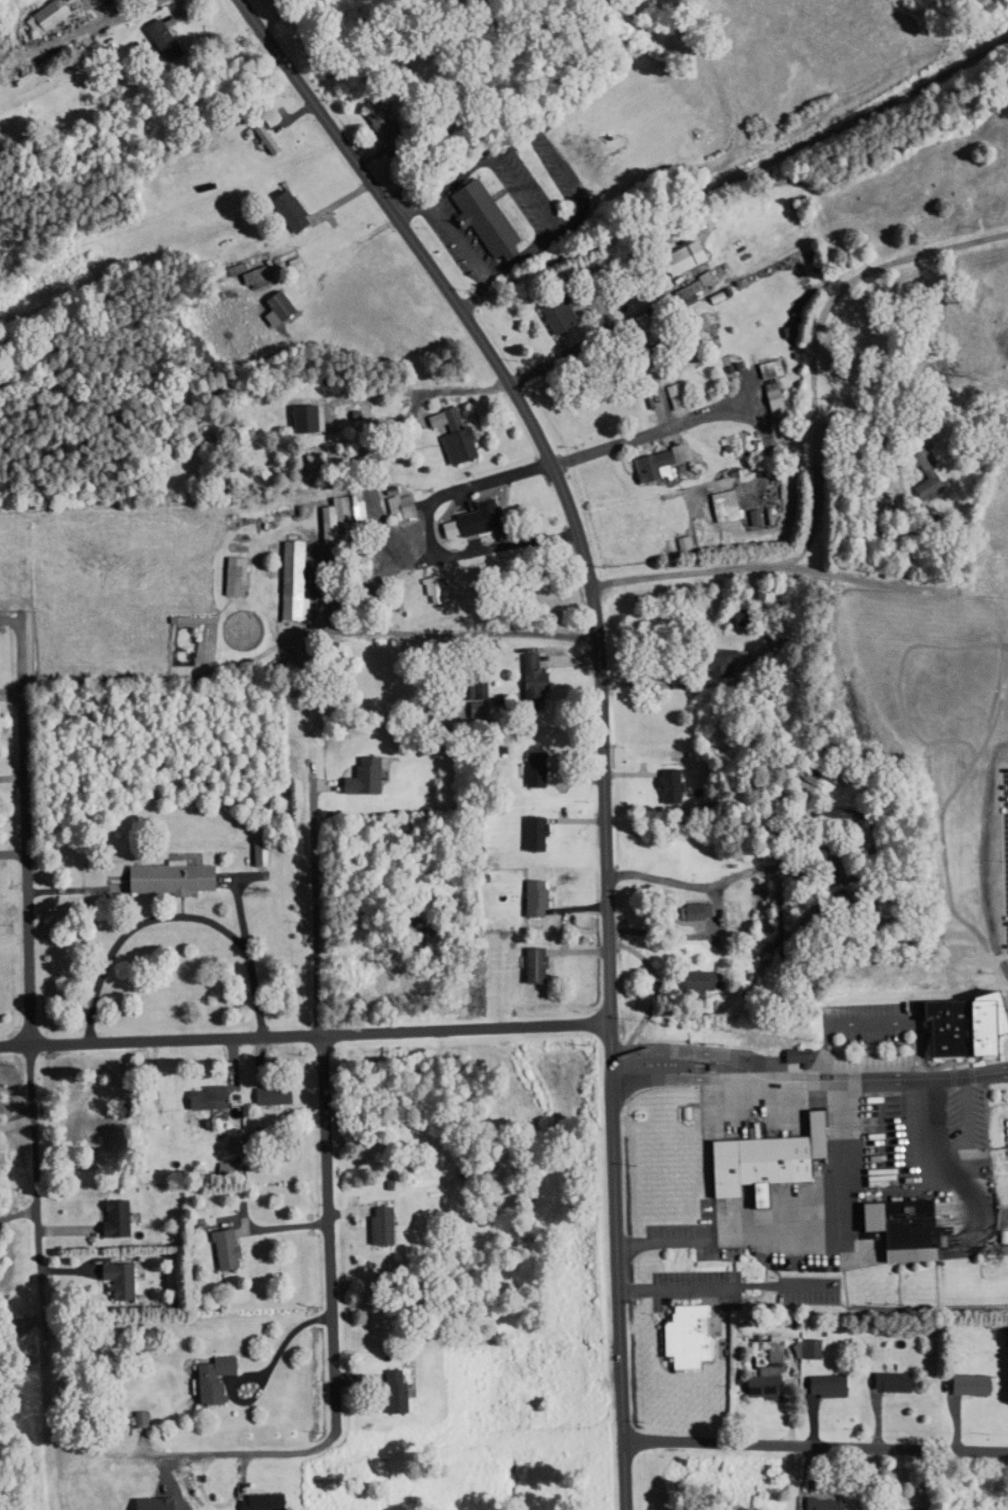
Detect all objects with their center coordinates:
building: (327, 11)
building: (55, 17)
road: (116, 19)
building: (173, 43)
building: (388, 123)
building: (464, 126)
building: (267, 137)
building: (297, 213)
building: (492, 222)
building: (692, 258)
building: (700, 287)
building: (287, 307)
building: (564, 319)
road: (815, 339)
building: (768, 388)
building: (304, 418)
road: (654, 432)
building: (650, 463)
building: (920, 474)
building: (720, 507)
building: (406, 508)
building: (350, 521)
building: (478, 523)
road: (676, 571)
building: (242, 576)
building: (300, 580)
road: (884, 587)
building: (437, 590)
road: (999, 593)
building: (352, 606)
building: (728, 618)
road: (456, 633)
building: (710, 663)
road: (600, 669)
building: (536, 676)
road: (662, 683)
building: (368, 777)
building: (667, 786)
building: (541, 833)
building: (265, 852)
building: (178, 878)
road: (687, 883)
building: (541, 899)
building: (703, 912)
road: (178, 921)
road: (858, 945)
building: (538, 966)
building: (708, 981)
building: (972, 1027)
road: (305, 1033)
road: (649, 1052)
road: (749, 1067)
road: (663, 1078)
building: (280, 1096)
road: (325, 1096)
building: (216, 1098)
road: (35, 1113)
road: (839, 1118)
building: (774, 1161)
building: (238, 1168)
building: (125, 1218)
building: (389, 1226)
building: (914, 1231)
road: (718, 1240)
building: (238, 1249)
building: (128, 1280)
building: (695, 1336)
building: (816, 1350)
building: (573, 1376)
building: (774, 1377)
building: (225, 1379)
building: (898, 1383)
building: (971, 1384)
building: (833, 1386)
building: (406, 1391)
road: (816, 1443)
road: (248, 1452)
road: (624, 1476)
building: (271, 1502)
building: (831, 1505)

